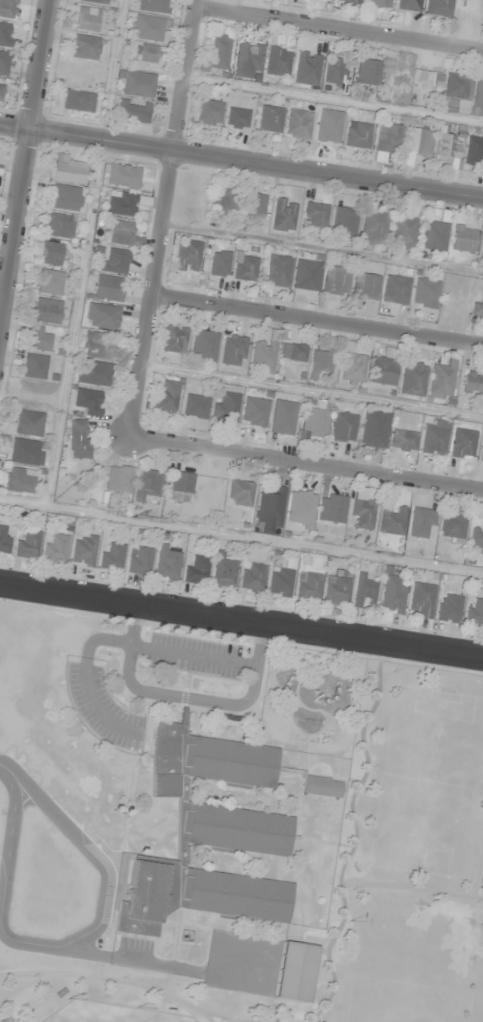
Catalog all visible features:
building: (93, 1)
building: (349, 1)
building: (379, 3)
building: (408, 5)
building: (152, 6)
building: (438, 7)
building: (7, 8)
building: (87, 19)
building: (147, 28)
building: (5, 34)
road: (338, 35)
building: (85, 47)
building: (219, 52)
building: (147, 53)
building: (247, 57)
building: (277, 62)
building: (3, 63)
building: (306, 68)
building: (333, 71)
building: (367, 72)
building: (136, 84)
building: (457, 86)
building: (1, 89)
building: (478, 98)
building: (78, 101)
building: (132, 112)
building: (209, 113)
building: (269, 119)
building: (298, 124)
building: (357, 135)
building: (388, 138)
building: (417, 142)
building: (446, 146)
building: (474, 151)
road: (241, 165)
building: (67, 170)
building: (123, 176)
road: (28, 178)
building: (65, 198)
building: (225, 200)
building: (121, 203)
building: (254, 205)
building: (315, 214)
building: (283, 215)
road: (165, 219)
building: (343, 222)
building: (59, 226)
building: (373, 228)
building: (403, 232)
building: (123, 234)
building: (433, 235)
building: (463, 239)
building: (481, 251)
building: (50, 253)
building: (187, 256)
building: (114, 262)
building: (244, 267)
building: (278, 271)
building: (306, 275)
building: (335, 281)
building: (50, 283)
building: (365, 286)
building: (108, 288)
building: (395, 290)
building: (425, 293)
building: (478, 307)
building: (45, 311)
building: (101, 316)
road: (319, 322)
building: (39, 339)
building: (174, 339)
building: (95, 345)
building: (204, 346)
building: (233, 350)
building: (292, 352)
building: (263, 355)
building: (320, 363)
building: (351, 366)
building: (34, 367)
building: (384, 368)
building: (95, 373)
building: (412, 379)
building: (441, 381)
building: (473, 382)
building: (165, 399)
building: (88, 401)
building: (195, 406)
building: (225, 408)
building: (254, 411)
building: (283, 417)
building: (28, 423)
building: (313, 423)
building: (343, 427)
building: (374, 429)
building: (434, 437)
building: (78, 439)
building: (403, 441)
building: (462, 444)
building: (25, 452)
building: (482, 452)
road: (307, 465)
building: (118, 479)
building: (18, 481)
building: (147, 485)
building: (180, 487)
building: (239, 493)
building: (270, 507)
building: (331, 508)
building: (300, 510)
building: (361, 514)
building: (392, 520)
building: (422, 523)
building: (452, 526)
building: (4, 539)
building: (476, 541)
building: (28, 545)
building: (55, 548)
building: (84, 550)
building: (112, 556)
building: (139, 560)
building: (167, 563)
building: (196, 570)
building: (223, 571)
building: (252, 577)
building: (280, 582)
building: (308, 586)
building: (337, 586)
building: (364, 588)
building: (393, 594)
building: (421, 600)
building: (448, 608)
building: (474, 612)
road: (241, 621)
road: (113, 641)
road: (187, 698)
road: (8, 772)
building: (251, 783)
building: (321, 786)
road: (74, 836)
building: (190, 895)
building: (295, 972)
park: (107, 1014)

